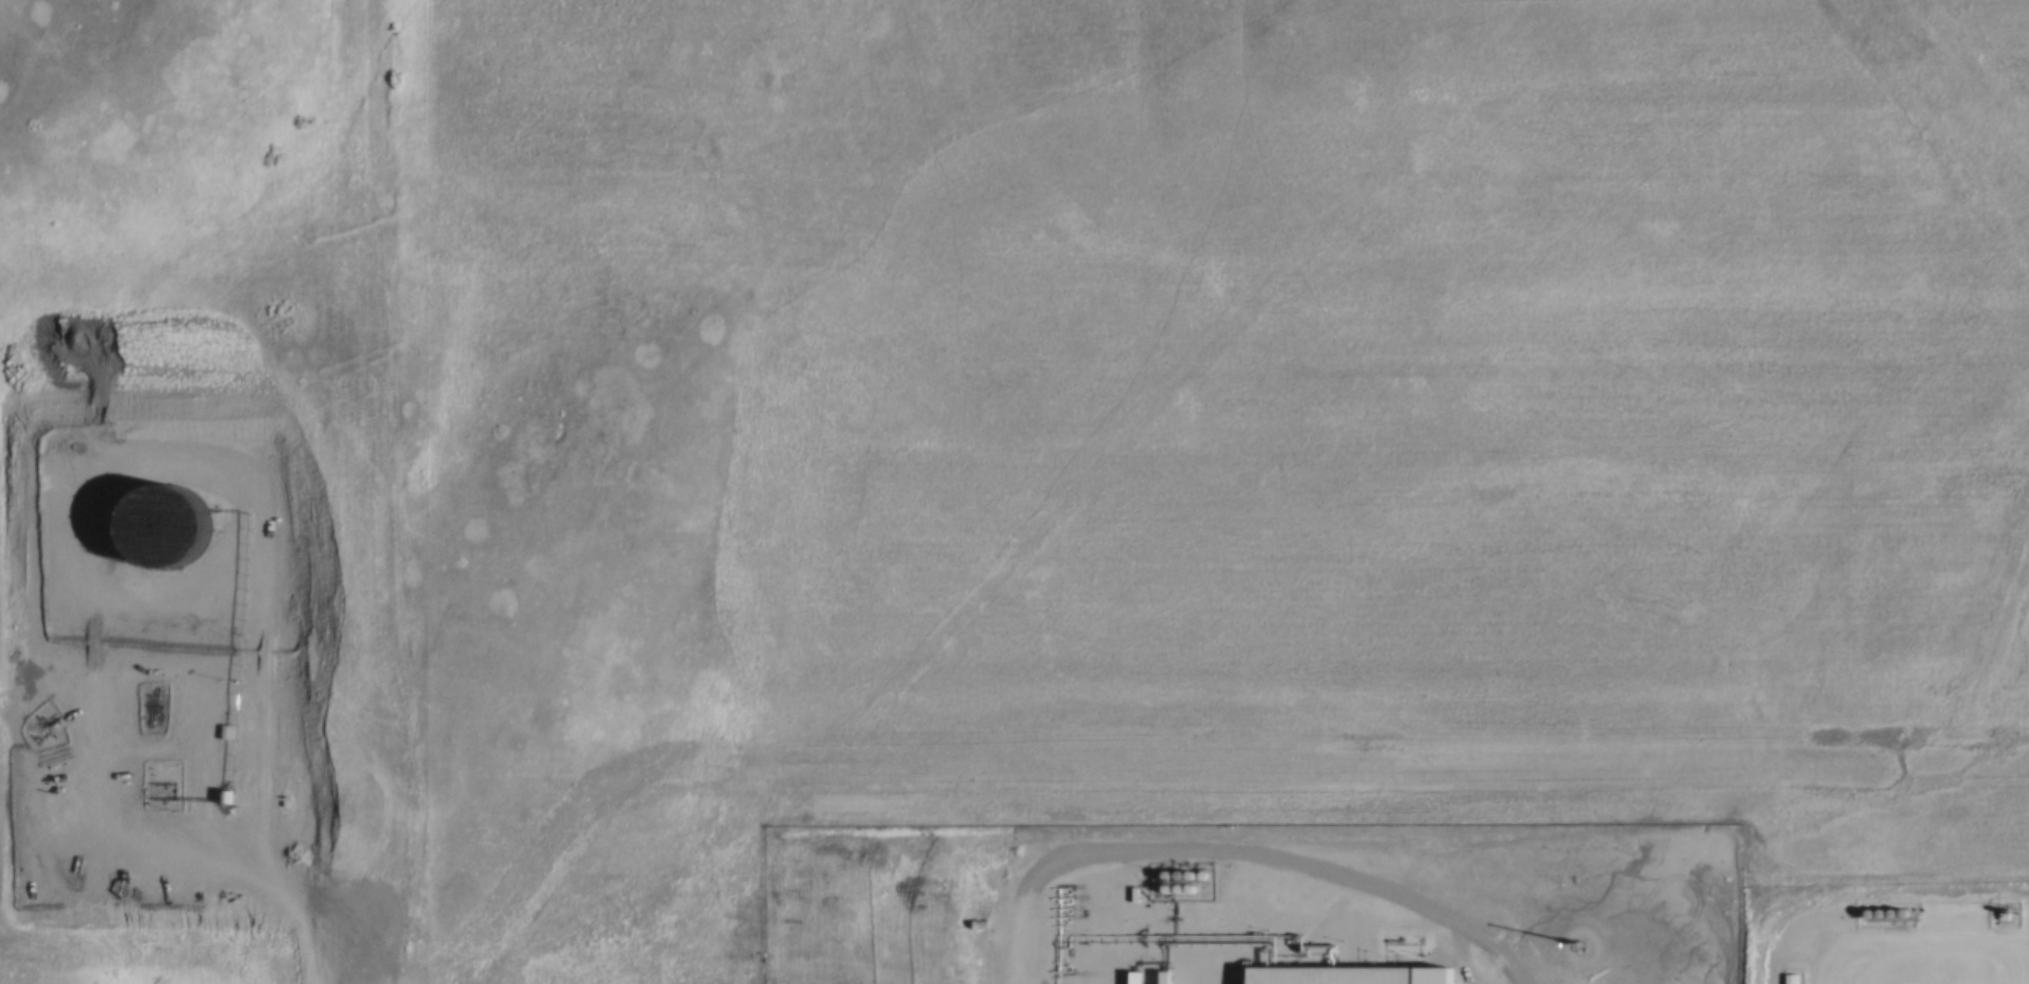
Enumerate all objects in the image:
building: (1789, 979)

